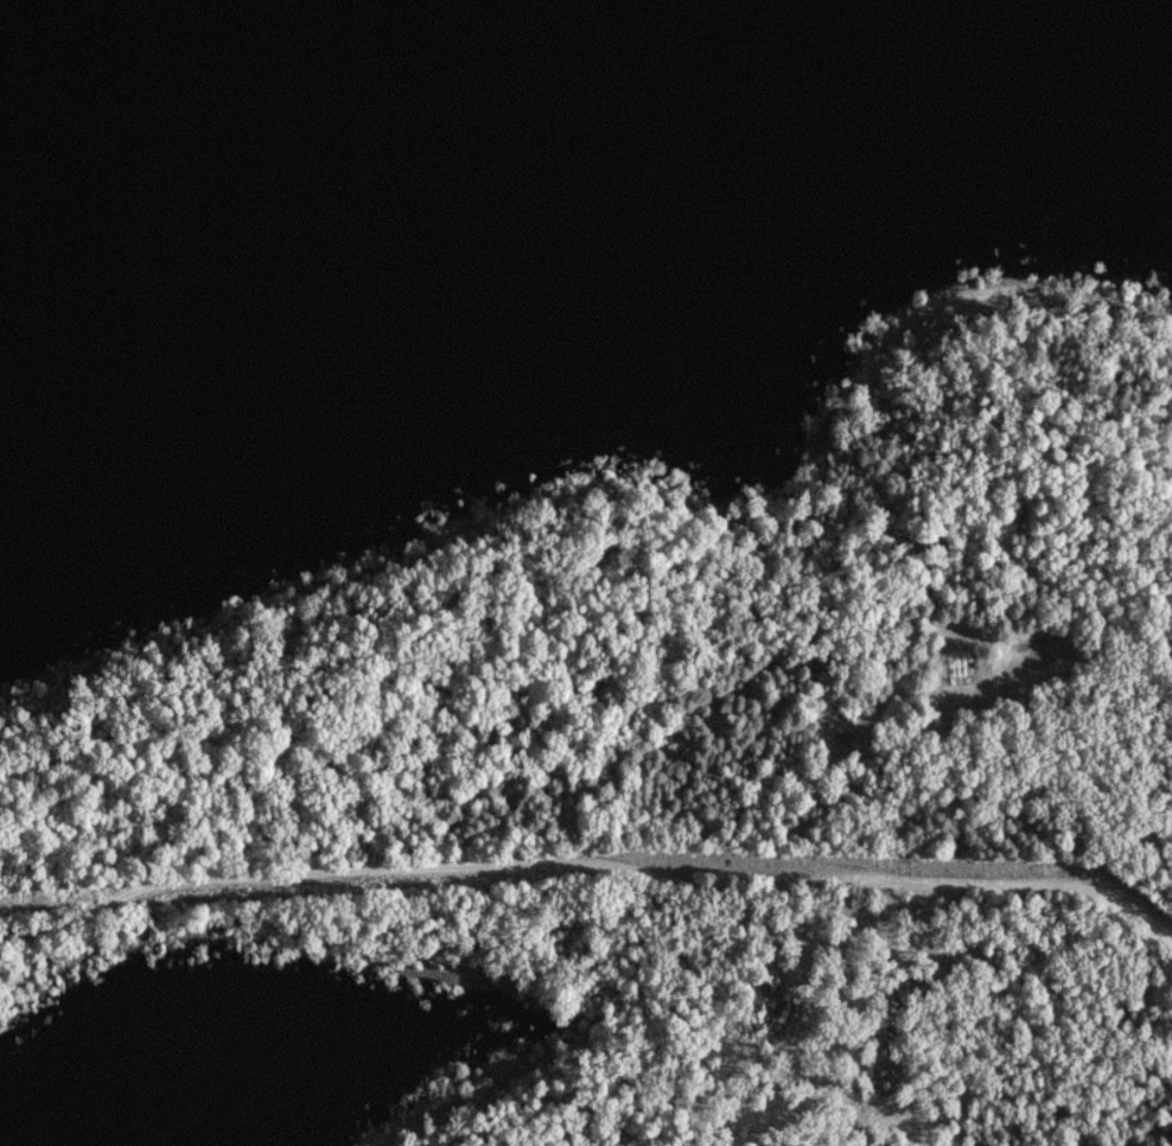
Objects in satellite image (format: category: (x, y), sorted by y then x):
road: (590, 861)

